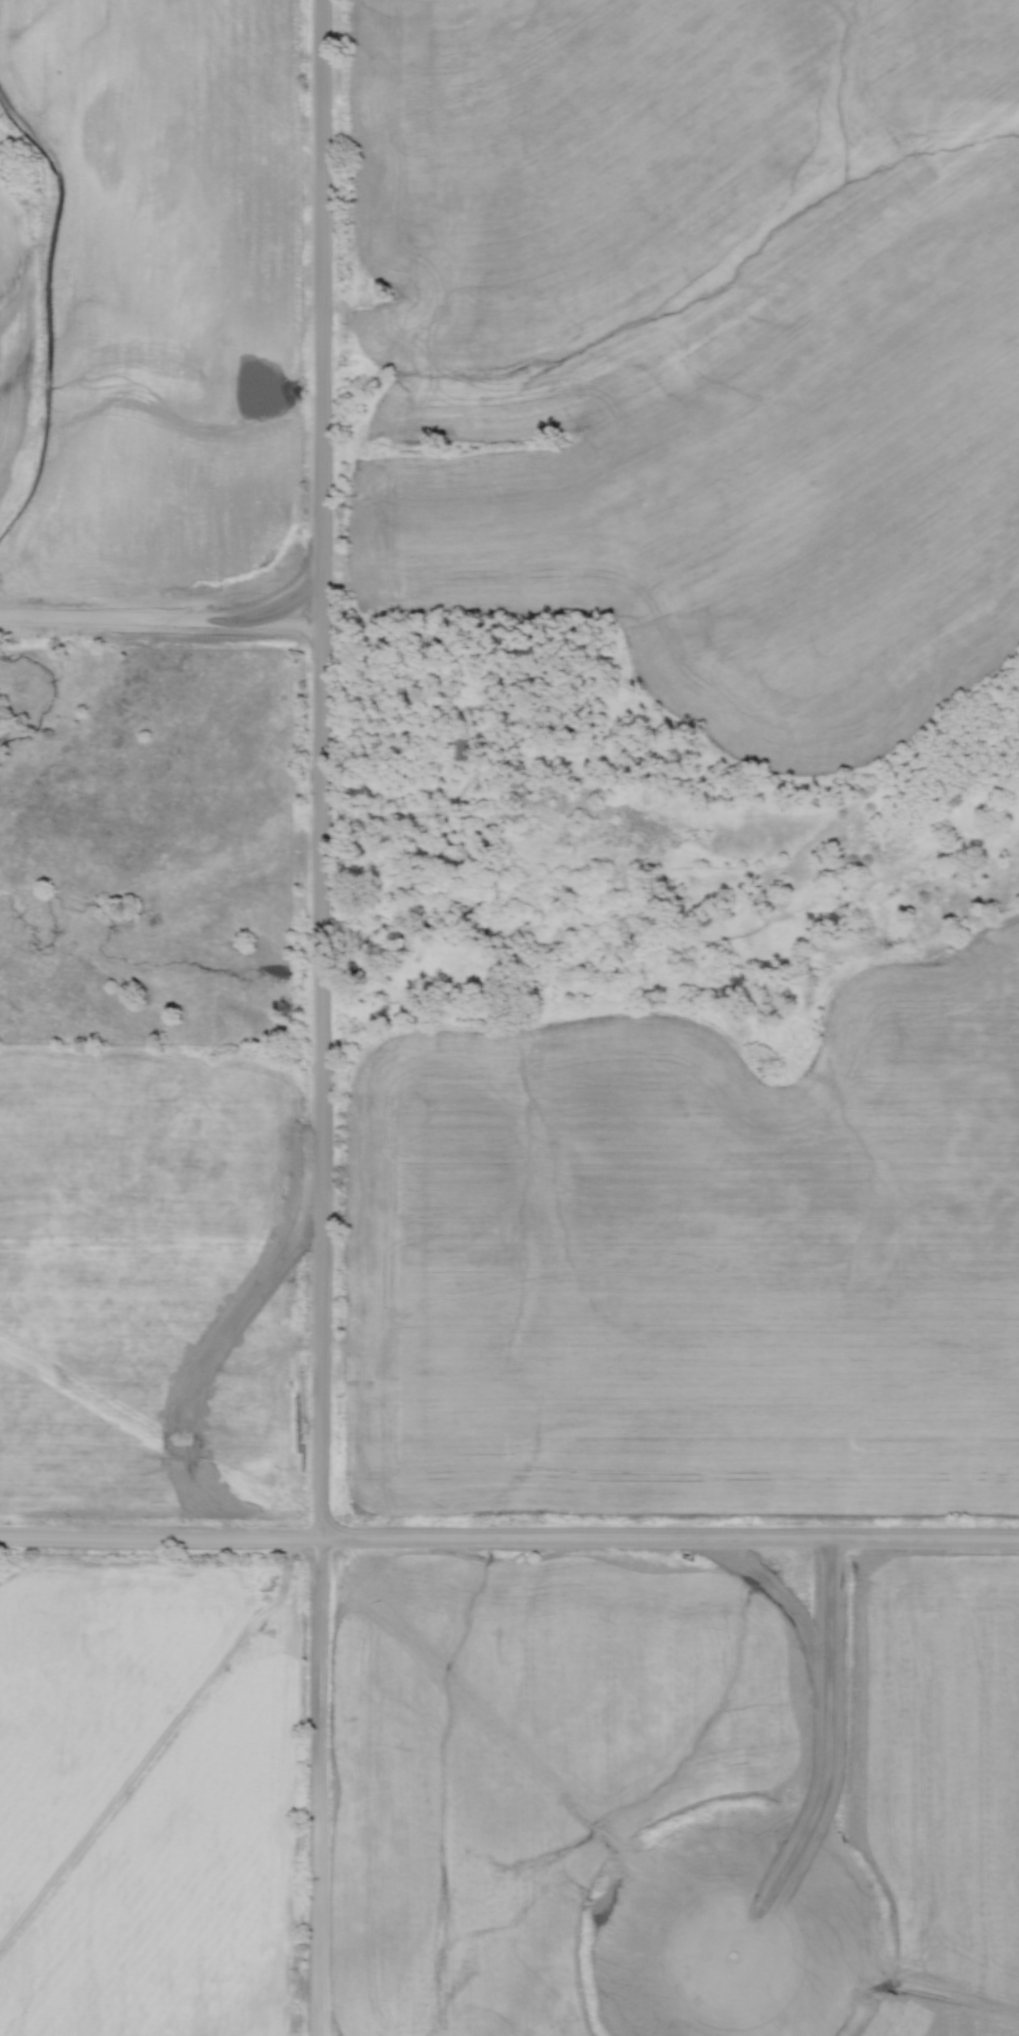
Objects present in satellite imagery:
road: (326, 1018)
road: (509, 1536)
wind turbine: (732, 1955)

